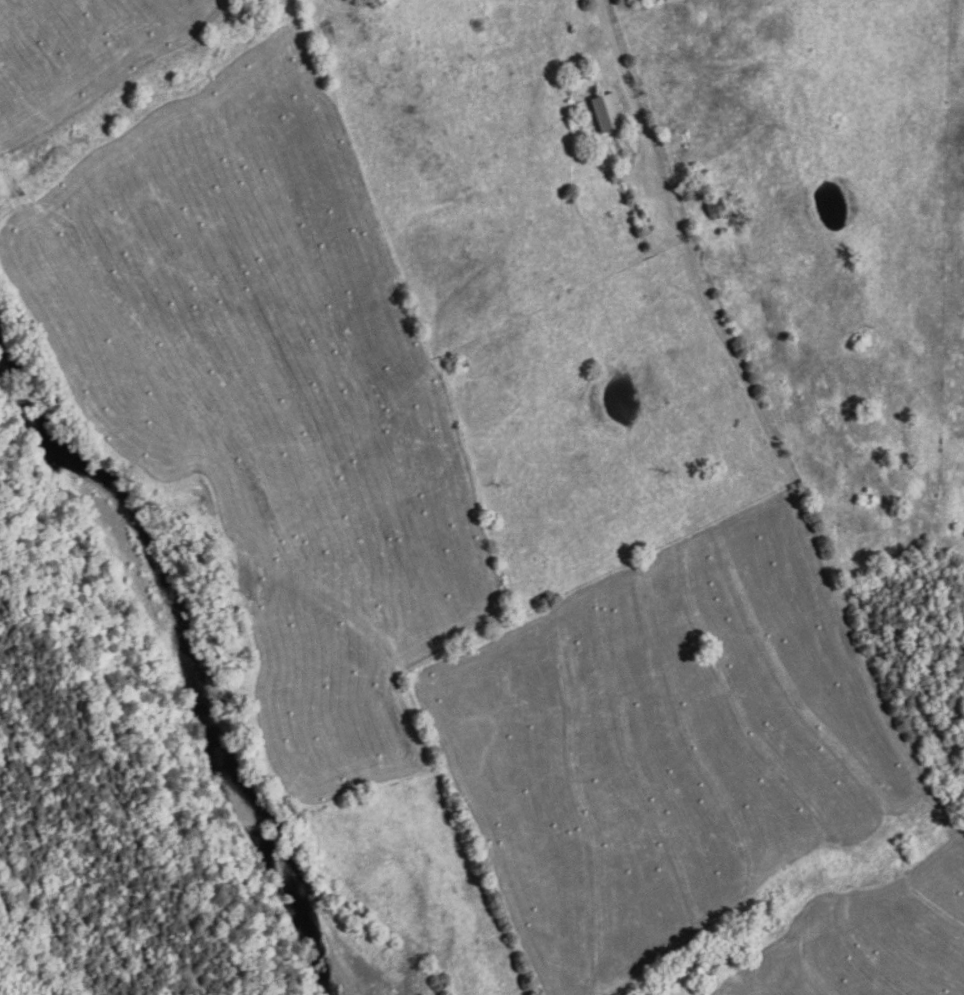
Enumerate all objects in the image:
building: (608, 113)
road: (661, 129)

